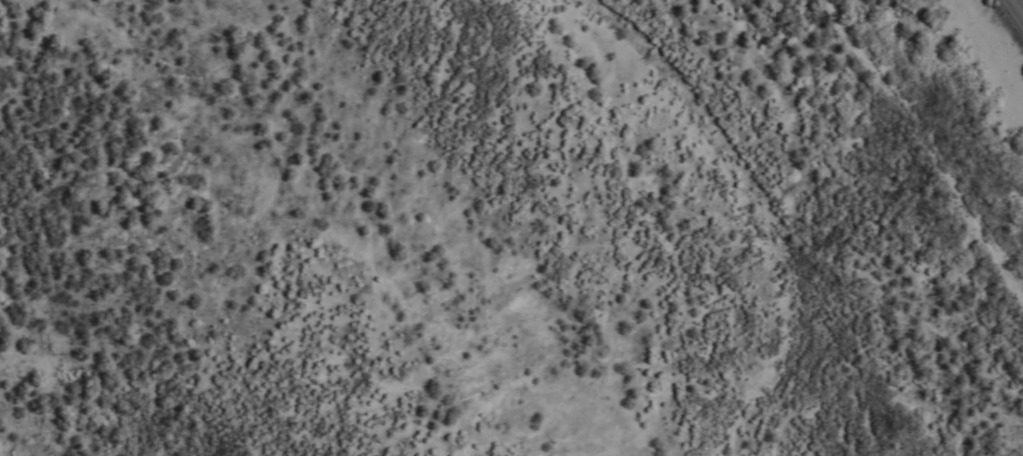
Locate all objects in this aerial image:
road: (1014, 11)

